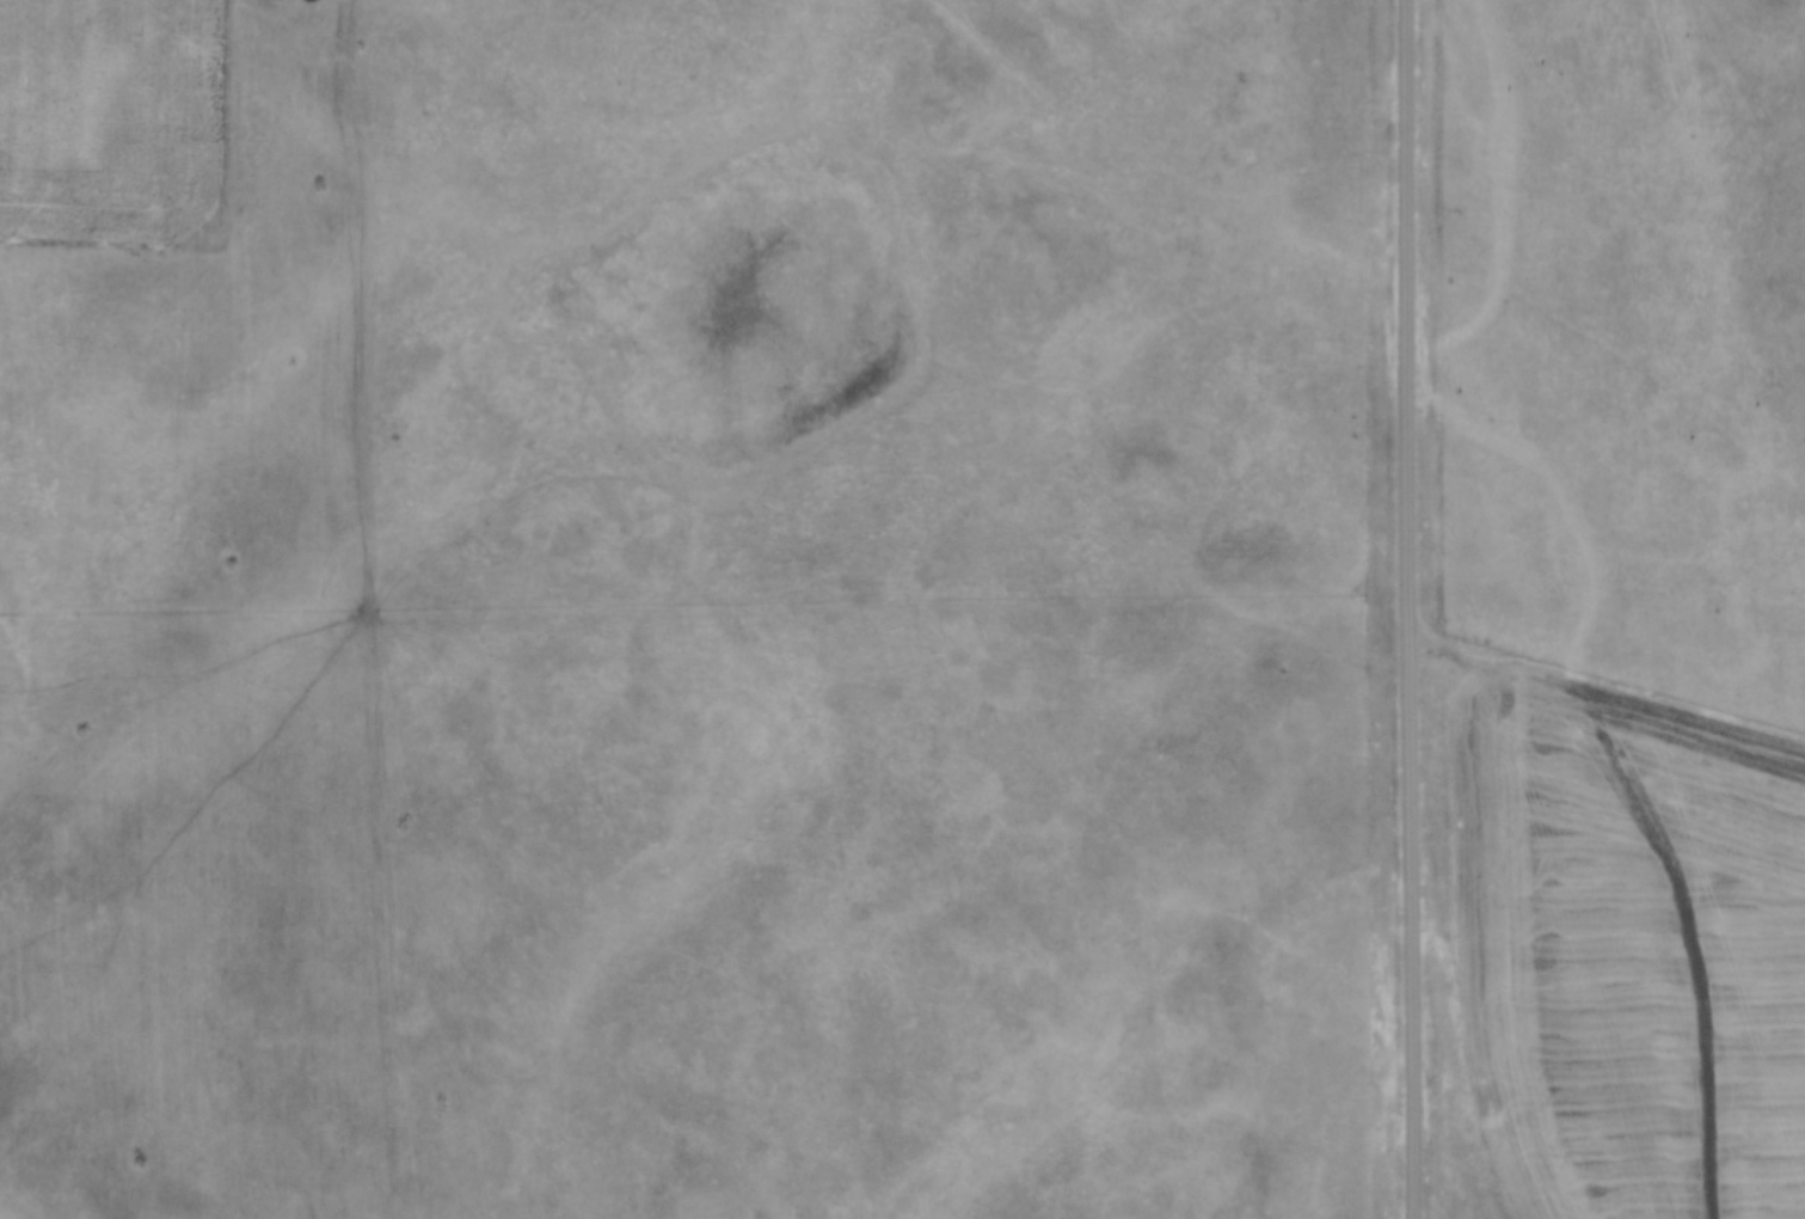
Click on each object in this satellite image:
road: (1411, 609)

